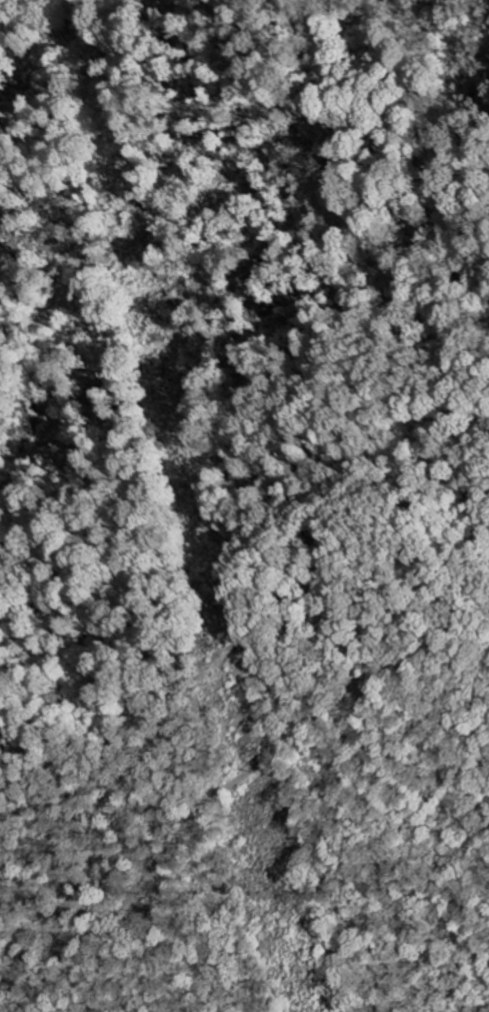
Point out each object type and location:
road: (461, 634)
road: (242, 775)

